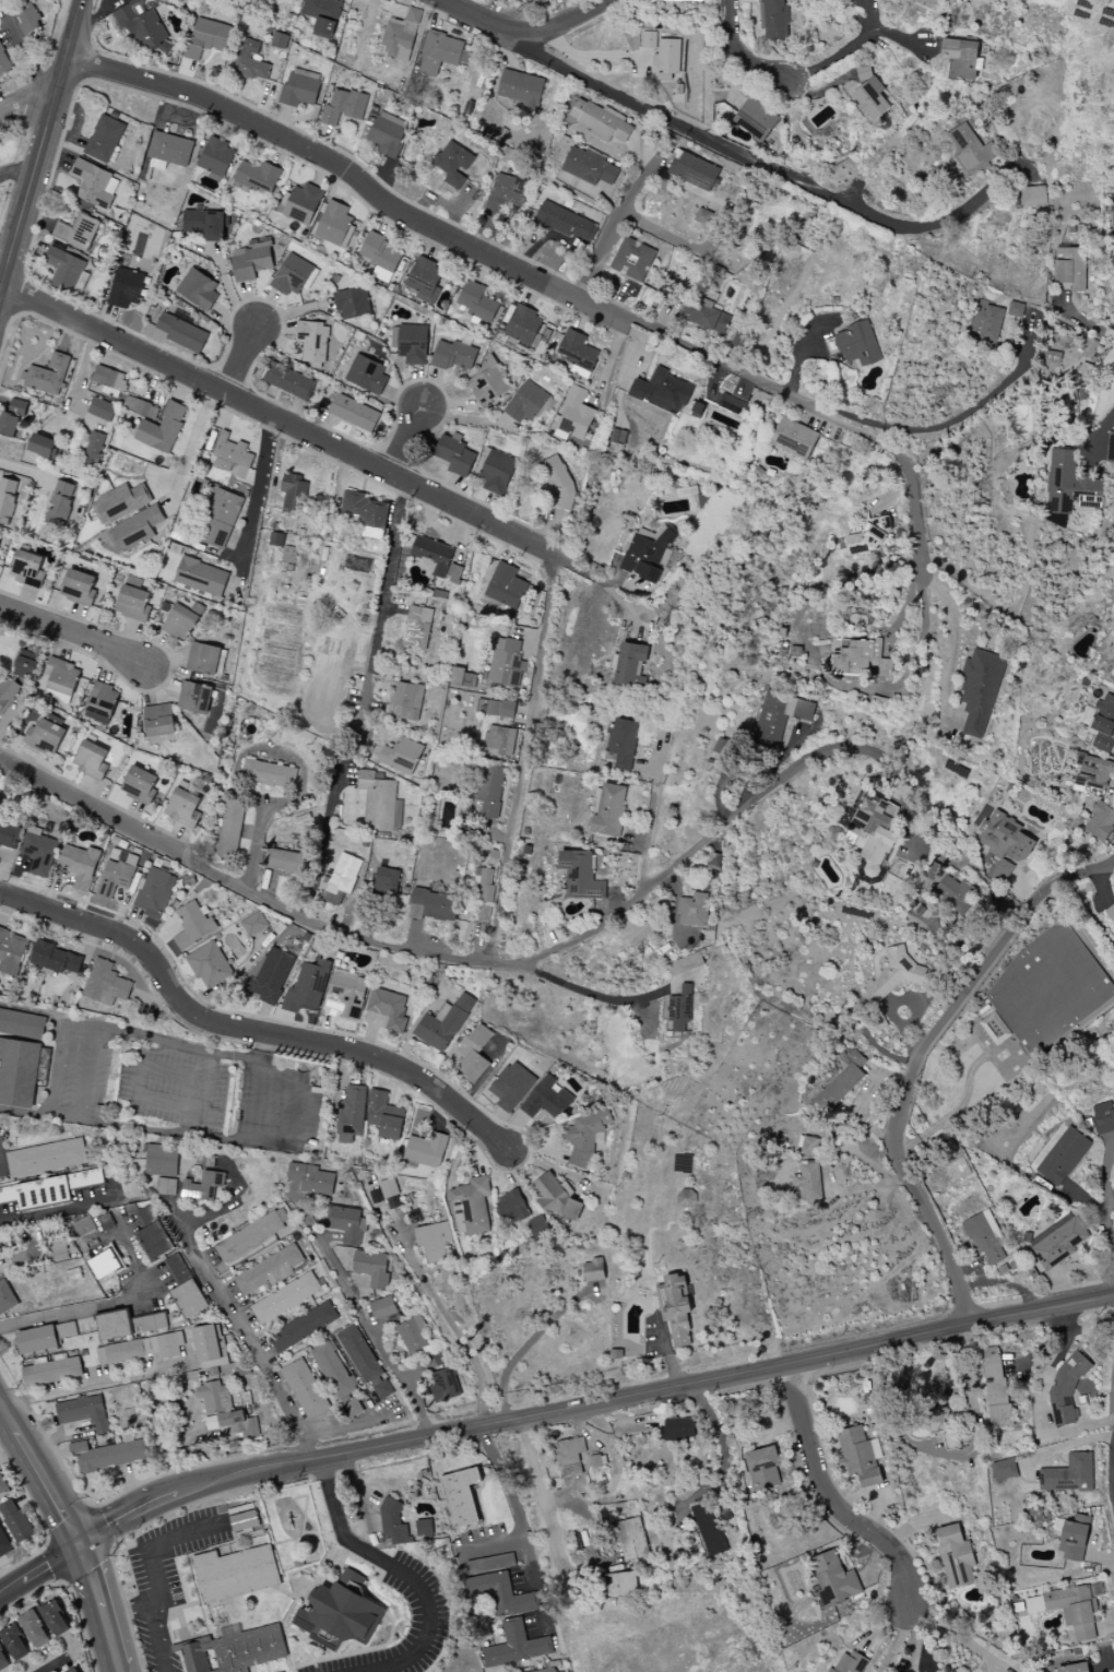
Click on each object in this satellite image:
building: (684, 0)
building: (261, 1)
building: (528, 1)
building: (541, 1)
building: (26, 16)
building: (322, 16)
building: (774, 19)
road: (529, 28)
building: (144, 31)
building: (401, 36)
building: (208, 38)
building: (278, 40)
building: (648, 40)
road: (24, 55)
building: (666, 57)
building: (961, 58)
building: (250, 61)
road: (779, 75)
building: (300, 87)
building: (520, 87)
building: (872, 98)
road: (24, 100)
building: (343, 107)
building: (755, 119)
building: (600, 121)
road: (688, 133)
building: (388, 134)
building: (104, 139)
road: (40, 146)
building: (169, 149)
building: (970, 150)
building: (216, 157)
building: (453, 164)
building: (590, 167)
building: (694, 170)
road: (16, 171)
building: (258, 177)
building: (95, 185)
building: (506, 194)
building: (1032, 197)
building: (301, 204)
road: (625, 206)
road: (957, 209)
building: (703, 217)
building: (564, 222)
building: (333, 224)
building: (205, 225)
building: (1112, 228)
building: (76, 233)
road: (669, 238)
building: (380, 257)
building: (251, 260)
building: (632, 260)
road: (3, 263)
building: (64, 269)
building: (1070, 270)
building: (294, 276)
road: (542, 278)
building: (425, 280)
road: (226, 287)
building: (126, 288)
building: (198, 288)
building: (476, 301)
building: (352, 303)
building: (1017, 310)
building: (706, 316)
building: (986, 323)
road: (1082, 324)
building: (524, 325)
building: (181, 333)
building: (312, 343)
building: (411, 343)
building: (858, 344)
building: (578, 353)
building: (452, 356)
road: (242, 363)
building: (48, 375)
building: (367, 375)
building: (109, 381)
building: (289, 381)
building: (488, 382)
building: (662, 391)
building: (525, 403)
building: (731, 404)
building: (140, 407)
building: (100, 410)
building: (353, 413)
building: (574, 415)
building: (11, 419)
road: (277, 422)
building: (162, 428)
road: (1107, 429)
building: (795, 439)
road: (408, 443)
building: (44, 447)
building: (1110, 448)
building: (94, 449)
road: (191, 454)
building: (232, 455)
building: (454, 456)
building: (497, 473)
building: (558, 483)
building: (1068, 483)
road: (257, 490)
building: (293, 491)
building: (7, 501)
building: (59, 503)
building: (120, 503)
building: (352, 505)
road: (914, 505)
building: (220, 518)
building: (376, 520)
building: (134, 530)
building: (869, 535)
building: (276, 539)
building: (434, 554)
building: (648, 554)
building: (27, 569)
building: (453, 572)
road: (597, 573)
building: (201, 577)
building: (506, 586)
building: (79, 588)
road: (386, 595)
building: (132, 600)
building: (181, 620)
building: (417, 628)
road: (73, 632)
building: (1111, 638)
road: (957, 640)
building: (205, 659)
building: (860, 659)
building: (26, 664)
building: (506, 664)
building: (628, 665)
road: (819, 667)
building: (62, 677)
building: (462, 678)
building: (980, 690)
building: (193, 698)
building: (405, 700)
building: (100, 703)
building: (495, 708)
building: (780, 718)
building: (158, 721)
building: (1103, 723)
building: (45, 736)
building: (501, 740)
building: (624, 743)
building: (401, 757)
building: (91, 759)
road: (522, 762)
building: (1094, 772)
building: (268, 774)
building: (138, 784)
building: (490, 791)
building: (377, 802)
building: (182, 808)
building: (609, 810)
road: (913, 816)
building: (0, 821)
building: (1100, 821)
building: (230, 830)
building: (874, 831)
building: (8, 835)
road: (647, 838)
building: (1006, 844)
road: (257, 850)
building: (38, 852)
road: (319, 857)
building: (284, 862)
building: (79, 865)
building: (581, 876)
building: (116, 877)
building: (341, 879)
building: (386, 880)
building: (484, 881)
building: (154, 893)
building: (956, 893)
building: (432, 905)
building: (692, 910)
building: (1110, 913)
building: (253, 924)
building: (193, 925)
building: (11, 952)
road: (450, 957)
building: (56, 959)
building: (684, 964)
building: (210, 968)
building: (896, 973)
building: (270, 974)
building: (106, 984)
building: (308, 986)
road: (580, 991)
building: (348, 993)
building: (389, 1008)
building: (679, 1011)
road: (50, 1015)
building: (22, 1023)
building: (443, 1024)
building: (994, 1029)
road: (245, 1031)
building: (474, 1054)
road: (919, 1058)
road: (57, 1068)
building: (19, 1074)
building: (843, 1081)
building: (511, 1087)
building: (547, 1099)
road: (260, 1103)
building: (352, 1113)
building: (383, 1116)
road: (86, 1117)
building: (1103, 1117)
building: (584, 1137)
building: (808, 1146)
building: (426, 1151)
building: (1060, 1154)
building: (45, 1158)
building: (161, 1161)
building: (311, 1178)
building: (807, 1183)
building: (203, 1186)
building: (167, 1187)
building: (47, 1189)
building: (390, 1194)
road: (1106, 1195)
building: (553, 1196)
building: (686, 1199)
building: (511, 1208)
road: (60, 1210)
building: (106, 1222)
building: (346, 1224)
building: (83, 1226)
building: (536, 1226)
building: (152, 1234)
building: (251, 1235)
building: (984, 1236)
building: (1057, 1241)
building: (435, 1242)
building: (58, 1250)
building: (105, 1264)
building: (371, 1267)
building: (177, 1268)
building: (270, 1270)
building: (593, 1270)
building: (7, 1296)
building: (285, 1297)
building: (189, 1299)
road: (112, 1306)
building: (382, 1308)
building: (675, 1308)
road: (363, 1314)
road: (450, 1321)
building: (128, 1325)
building: (303, 1327)
building: (67, 1330)
building: (412, 1333)
road: (249, 1339)
building: (36, 1340)
building: (210, 1347)
building: (140, 1349)
building: (364, 1361)
building: (51, 1371)
building: (332, 1371)
road: (112, 1379)
building: (445, 1384)
building: (996, 1387)
building: (1065, 1388)
building: (305, 1389)
road: (1041, 1398)
road: (590, 1403)
building: (352, 1408)
building: (224, 1411)
building: (83, 1412)
building: (938, 1421)
building: (678, 1428)
road: (723, 1444)
building: (107, 1455)
building: (858, 1456)
building: (569, 1457)
building: (763, 1468)
building: (1004, 1470)
building: (1068, 1474)
road: (538, 1475)
building: (461, 1497)
road: (831, 1501)
building: (15, 1521)
building: (244, 1521)
building: (393, 1522)
road: (520, 1526)
building: (423, 1528)
building: (709, 1529)
road: (73, 1531)
building: (1074, 1538)
building: (631, 1539)
building: (955, 1556)
road: (39, 1569)
road: (402, 1573)
road: (155, 1579)
building: (833, 1579)
building: (619, 1585)
building: (500, 1593)
building: (1068, 1610)
road: (128, 1611)
building: (235, 1611)
building: (340, 1613)
building: (55, 1618)
building: (34, 1629)
road: (956, 1635)
road: (896, 1641)
building: (14, 1643)
building: (515, 1646)
building: (851, 1662)
road: (58, 1665)
building: (1074, 1668)
building: (554, 1670)
building: (74, 1671)

